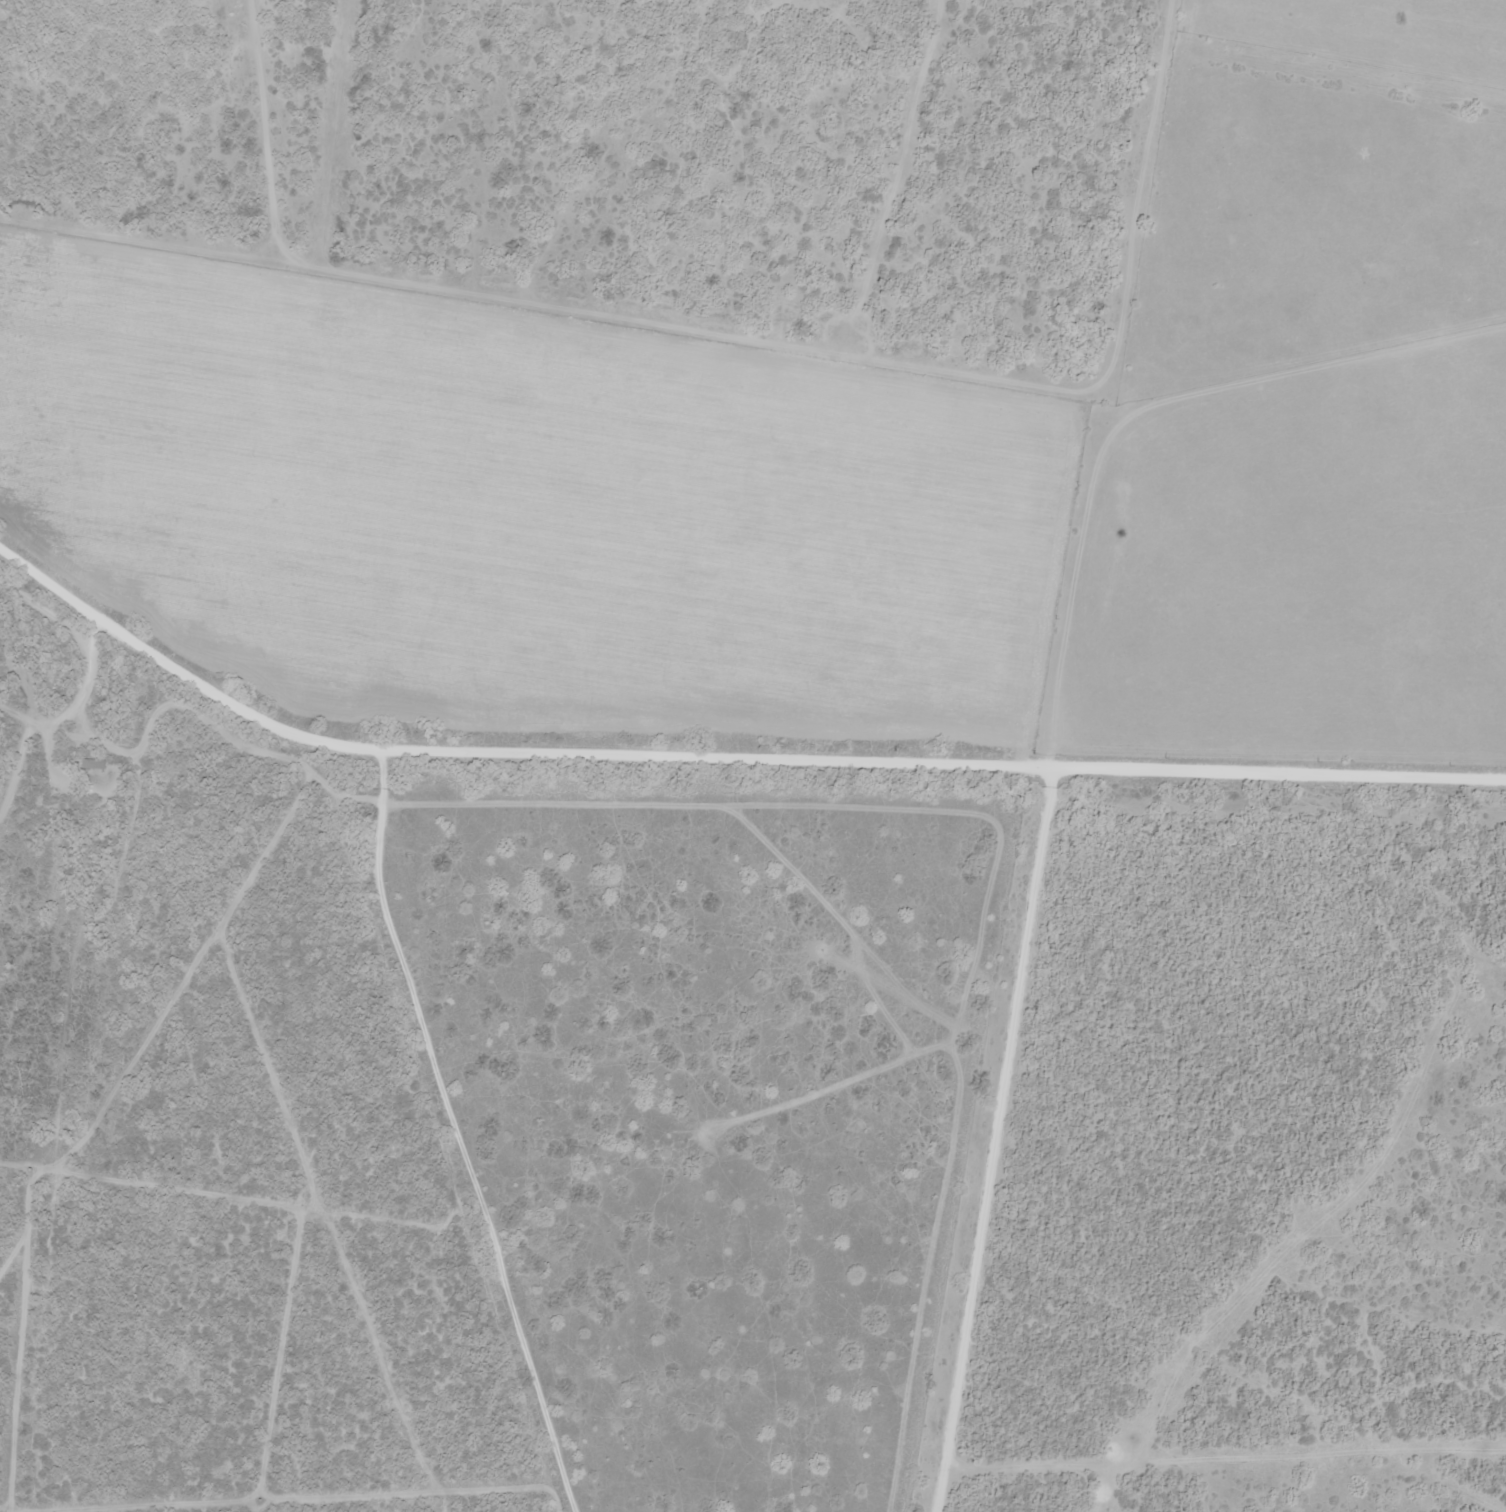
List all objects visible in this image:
road: (135, 641)
building: (90, 763)
road: (742, 772)
road: (450, 1141)
road: (1001, 1145)

